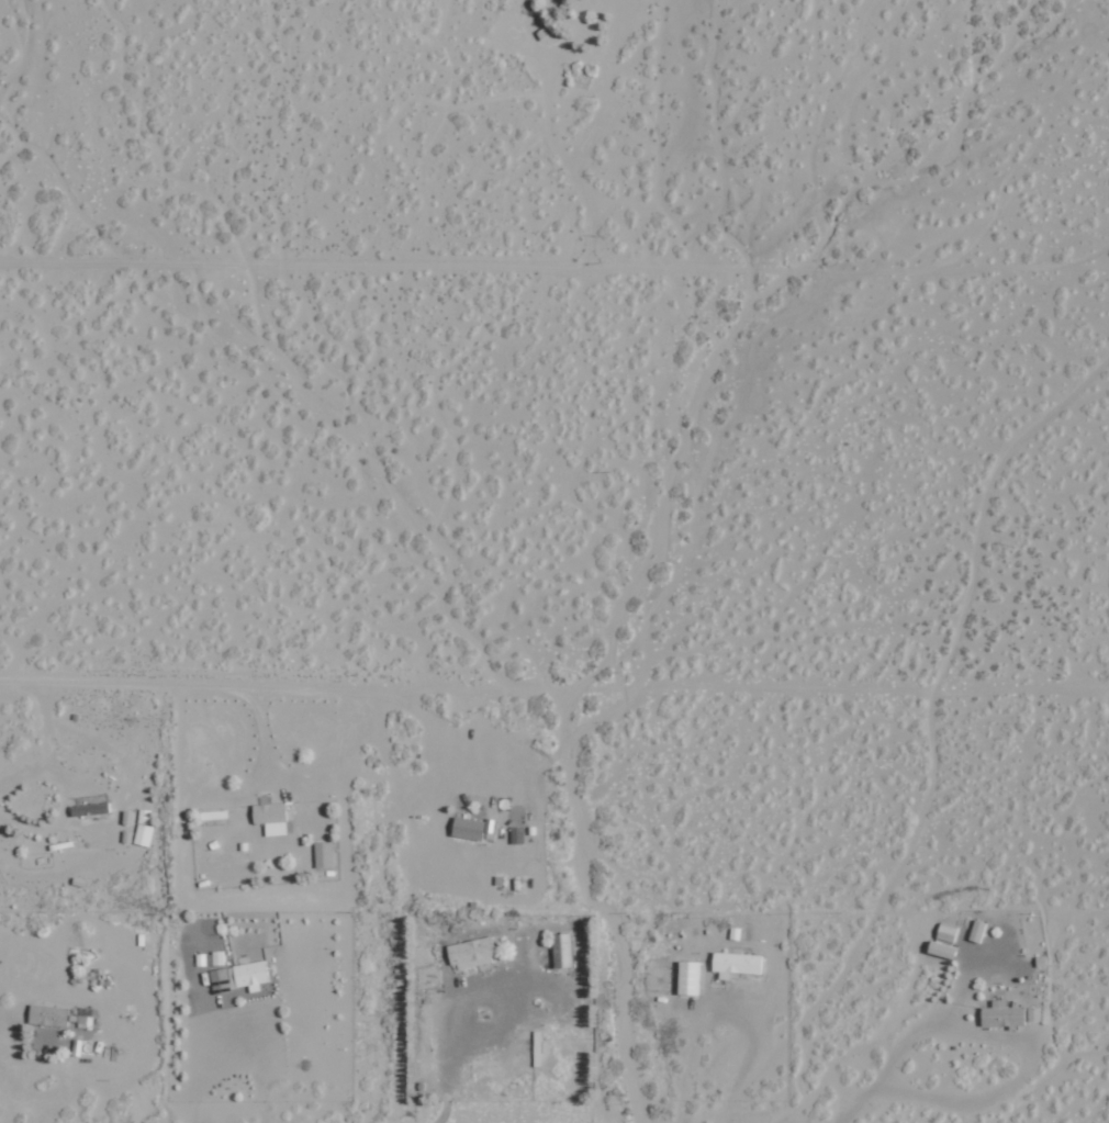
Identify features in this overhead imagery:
road: (553, 258)
road: (948, 759)
road: (139, 778)
building: (81, 809)
building: (270, 818)
building: (467, 828)
building: (516, 834)
building: (323, 854)
building: (976, 930)
building: (561, 950)
building: (940, 950)
building: (472, 952)
building: (210, 958)
building: (736, 964)
building: (250, 975)
building: (688, 978)
building: (1033, 1013)
building: (1002, 1014)
building: (47, 1015)
road: (356, 1102)

